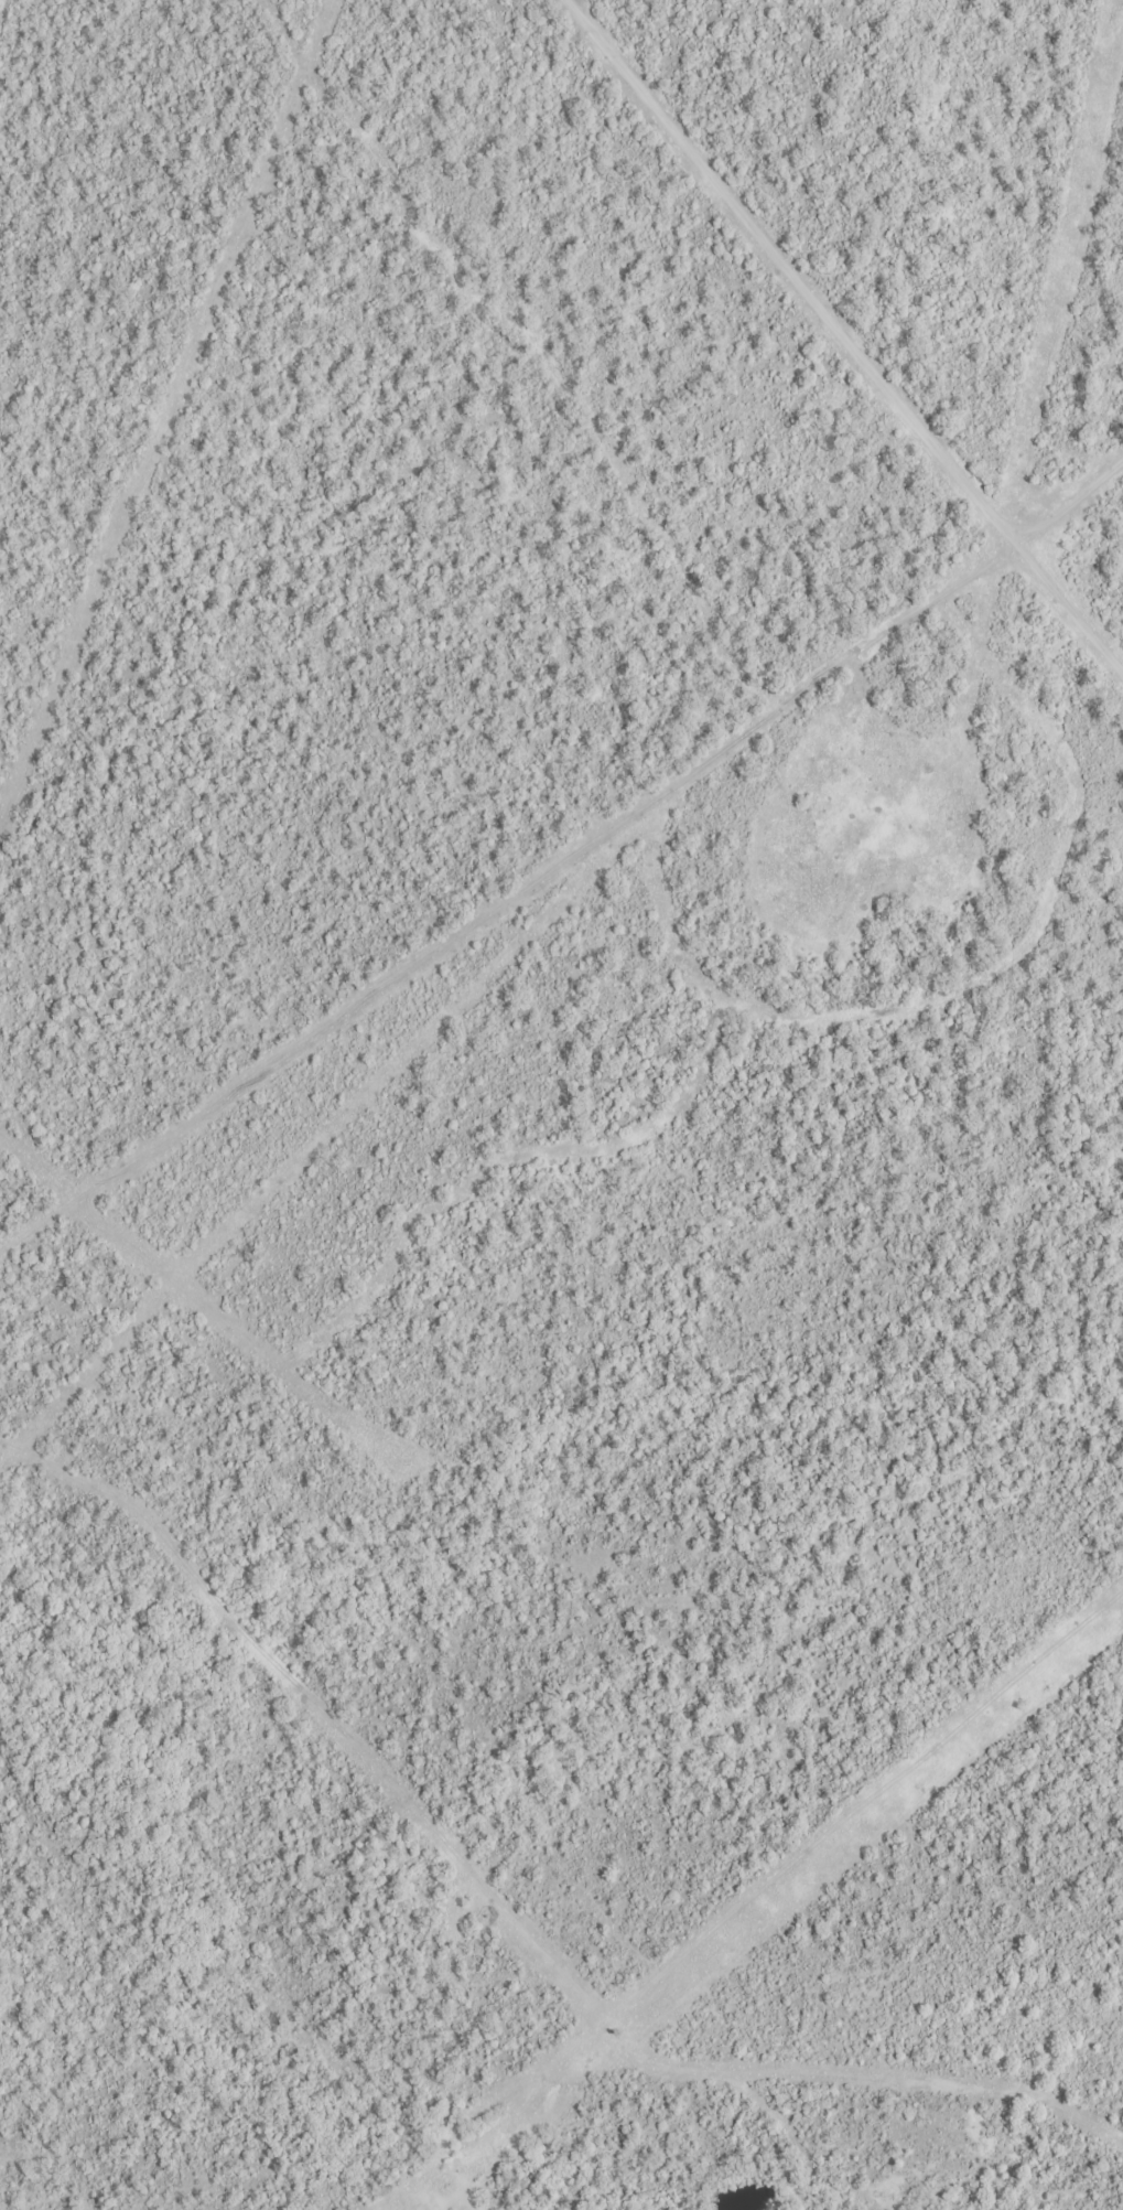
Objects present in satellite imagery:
road: (849, 325)

